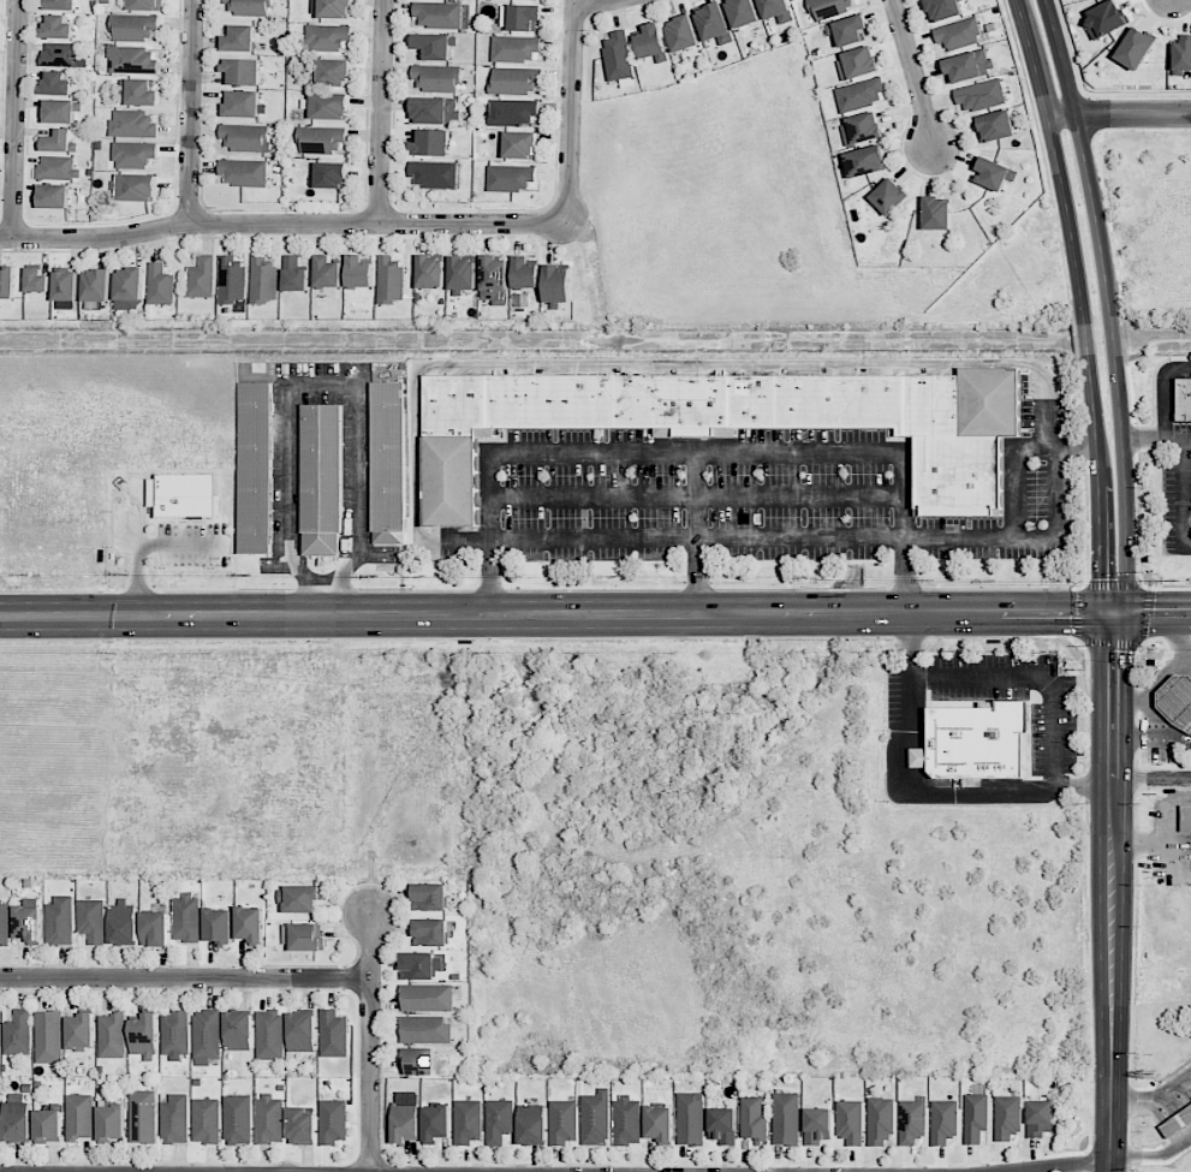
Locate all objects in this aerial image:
road: (590, 0)
building: (60, 5)
building: (144, 5)
building: (250, 7)
building: (832, 7)
building: (334, 8)
building: (775, 10)
building: (942, 10)
building: (742, 12)
building: (437, 14)
building: (519, 17)
building: (1104, 18)
building: (714, 24)
building: (133, 26)
building: (56, 28)
building: (847, 30)
building: (681, 34)
building: (958, 34)
building: (327, 37)
building: (239, 38)
building: (651, 43)
building: (433, 46)
building: (513, 48)
building: (1135, 48)
road: (1071, 53)
building: (61, 54)
building: (1181, 55)
building: (617, 56)
building: (131, 60)
building: (857, 64)
building: (967, 65)
building: (242, 71)
building: (333, 72)
road: (913, 73)
building: (436, 78)
building: (514, 81)
building: (55, 84)
building: (137, 93)
building: (859, 94)
building: (981, 95)
building: (242, 103)
building: (327, 106)
building: (58, 111)
building: (435, 111)
road: (189, 112)
road: (380, 112)
building: (512, 112)
road: (568, 112)
road: (1118, 113)
road: (1096, 115)
road: (13, 119)
building: (132, 124)
building: (995, 126)
building: (861, 129)
building: (245, 138)
building: (321, 139)
building: (58, 141)
building: (430, 143)
building: (519, 144)
building: (133, 154)
building: (864, 161)
building: (58, 167)
building: (244, 173)
building: (434, 174)
building: (993, 174)
building: (330, 175)
building: (510, 178)
building: (137, 188)
building: (53, 196)
building: (888, 196)
building: (936, 213)
road: (281, 224)
building: (327, 272)
building: (358, 272)
building: (430, 272)
building: (461, 273)
building: (524, 273)
building: (294, 274)
building: (202, 276)
building: (232, 279)
building: (263, 279)
building: (391, 279)
building: (494, 279)
building: (7, 281)
building: (38, 281)
building: (556, 284)
building: (66, 285)
building: (97, 285)
building: (161, 285)
building: (130, 288)
road: (1066, 290)
road: (1084, 303)
road: (1110, 303)
road: (1124, 359)
road: (649, 365)
road: (303, 383)
road: (1165, 394)
building: (1184, 398)
building: (732, 421)
road: (1157, 441)
road: (1077, 446)
road: (691, 452)
building: (389, 463)
building: (256, 466)
building: (322, 478)
building: (183, 494)
road: (1184, 494)
road: (695, 496)
road: (696, 496)
road: (1059, 504)
road: (800, 536)
road: (554, 540)
road: (138, 546)
road: (1113, 585)
traffic signals: (1112, 612)
road: (1151, 612)
road: (555, 614)
road: (1177, 639)
road: (1112, 643)
road: (1030, 676)
road: (1163, 679)
building: (1177, 701)
gas station: (1177, 701)
road: (1143, 718)
building: (976, 740)
road: (1150, 777)
road: (919, 791)
building: (1185, 817)
road: (1109, 891)
building: (429, 897)
building: (302, 899)
building: (185, 917)
building: (91, 920)
building: (28, 921)
building: (4, 922)
building: (60, 922)
building: (123, 922)
building: (250, 923)
building: (218, 926)
building: (154, 928)
building: (430, 932)
building: (306, 936)
building: (419, 965)
road: (185, 981)
building: (427, 998)
building: (424, 1028)
building: (238, 1030)
building: (79, 1031)
building: (300, 1031)
building: (17, 1033)
building: (174, 1034)
building: (269, 1034)
building: (333, 1034)
building: (112, 1035)
building: (48, 1036)
building: (144, 1036)
building: (206, 1036)
road: (370, 1045)
building: (417, 1060)
road: (1153, 1101)
building: (16, 1117)
building: (79, 1117)
building: (143, 1117)
building: (975, 1117)
building: (1006, 1117)
building: (595, 1118)
building: (690, 1118)
building: (1038, 1118)
building: (175, 1119)
building: (238, 1119)
building: (268, 1119)
building: (564, 1119)
building: (754, 1119)
building: (786, 1119)
building: (206, 1120)
building: (499, 1120)
building: (626, 1120)
building: (850, 1120)
building: (880, 1120)
building: (911, 1120)
building: (943, 1120)
building: (111, 1122)
building: (332, 1122)
building: (405, 1122)
building: (469, 1122)
building: (1177, 1122)
building: (436, 1123)
building: (531, 1124)
building: (659, 1124)
building: (47, 1125)
building: (722, 1125)
building: (816, 1125)
building: (302, 1126)
road: (1151, 1156)
road: (1058, 1164)

